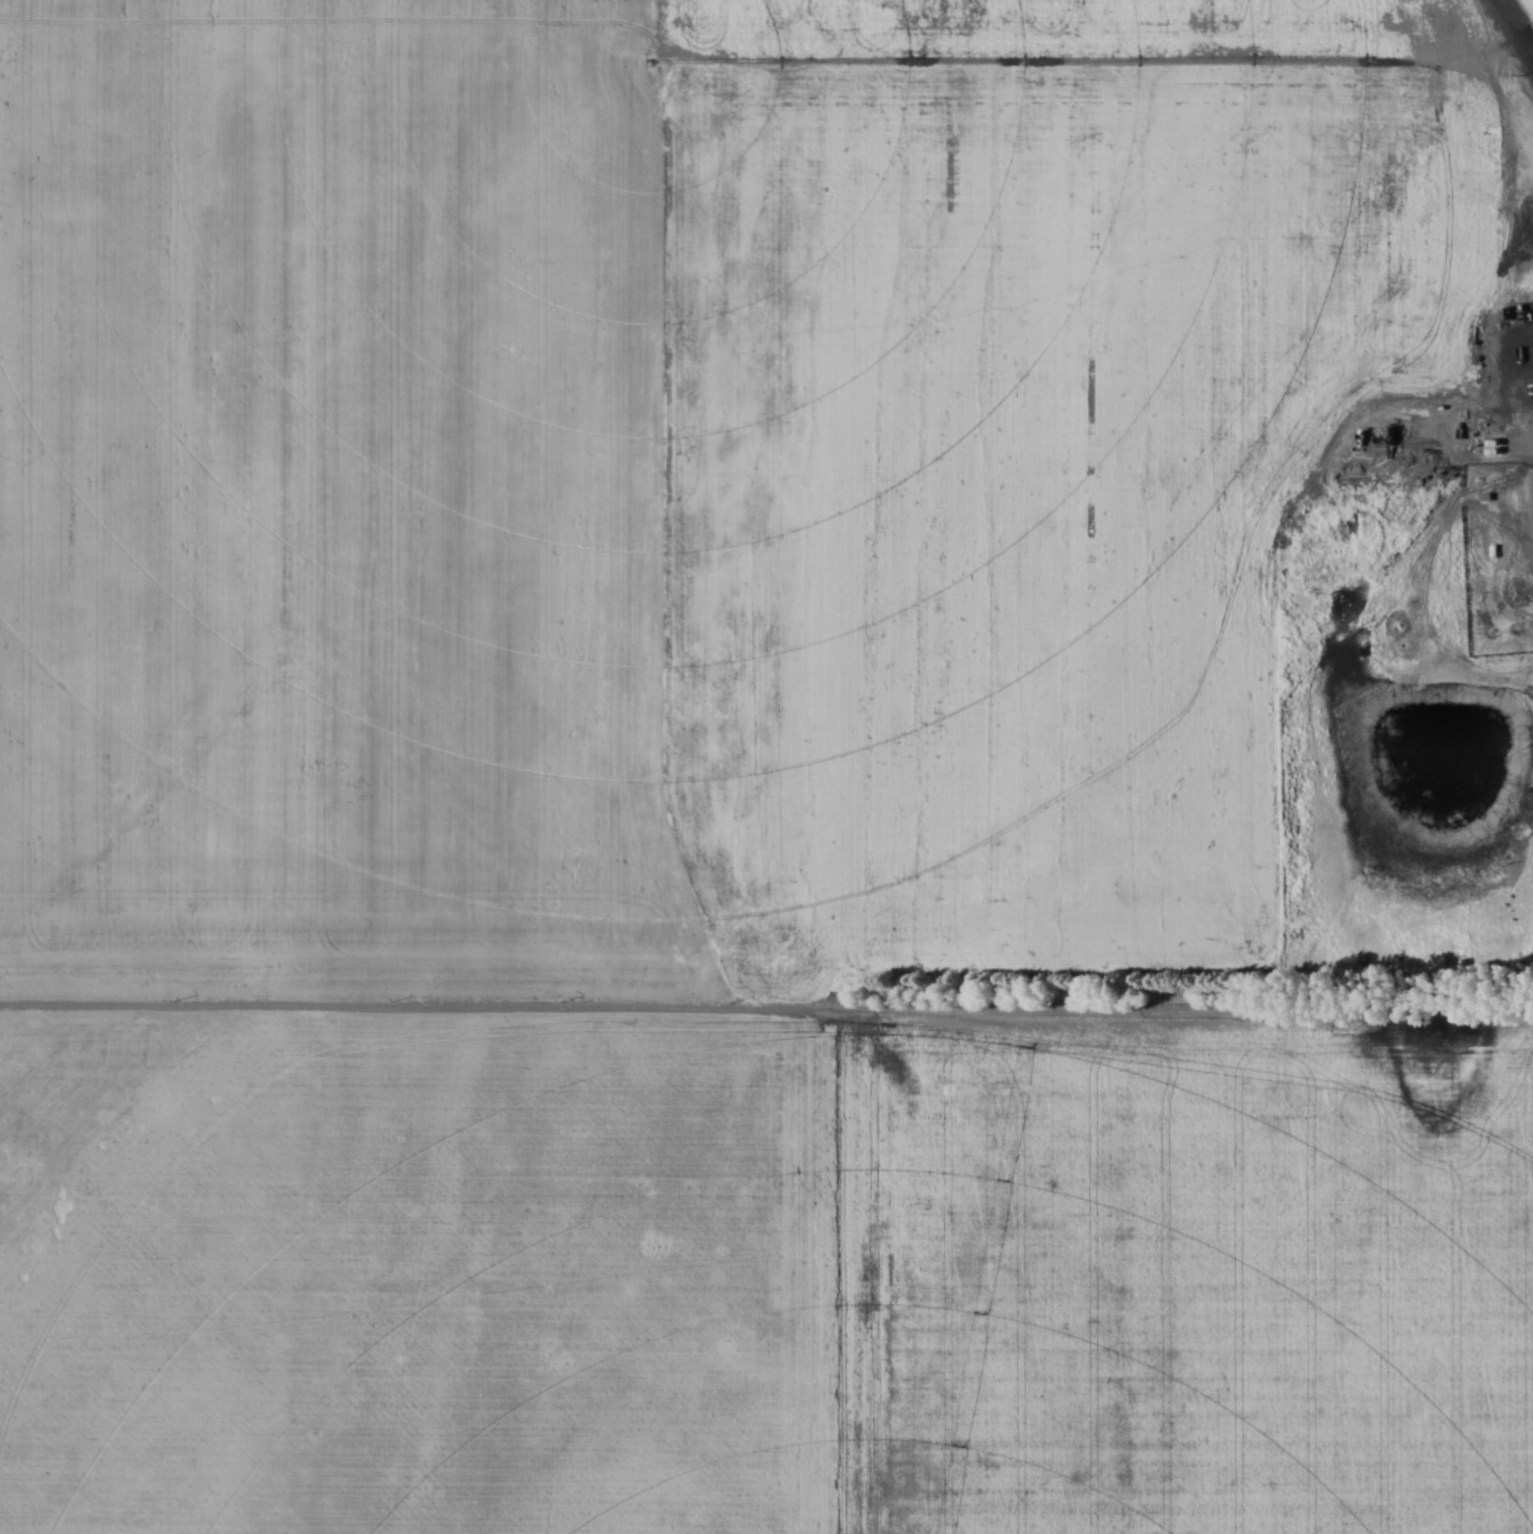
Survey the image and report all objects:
road: (1518, 22)

